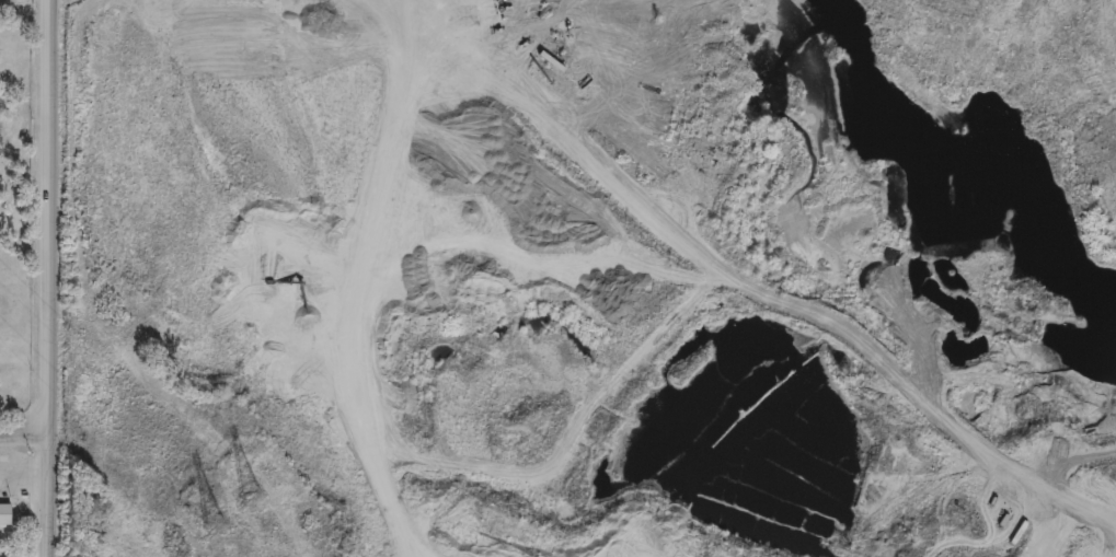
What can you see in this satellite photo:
road: (448, 7)
road: (50, 278)
road: (747, 283)
road: (25, 434)
building: (3, 514)
power tower: (210, 520)

